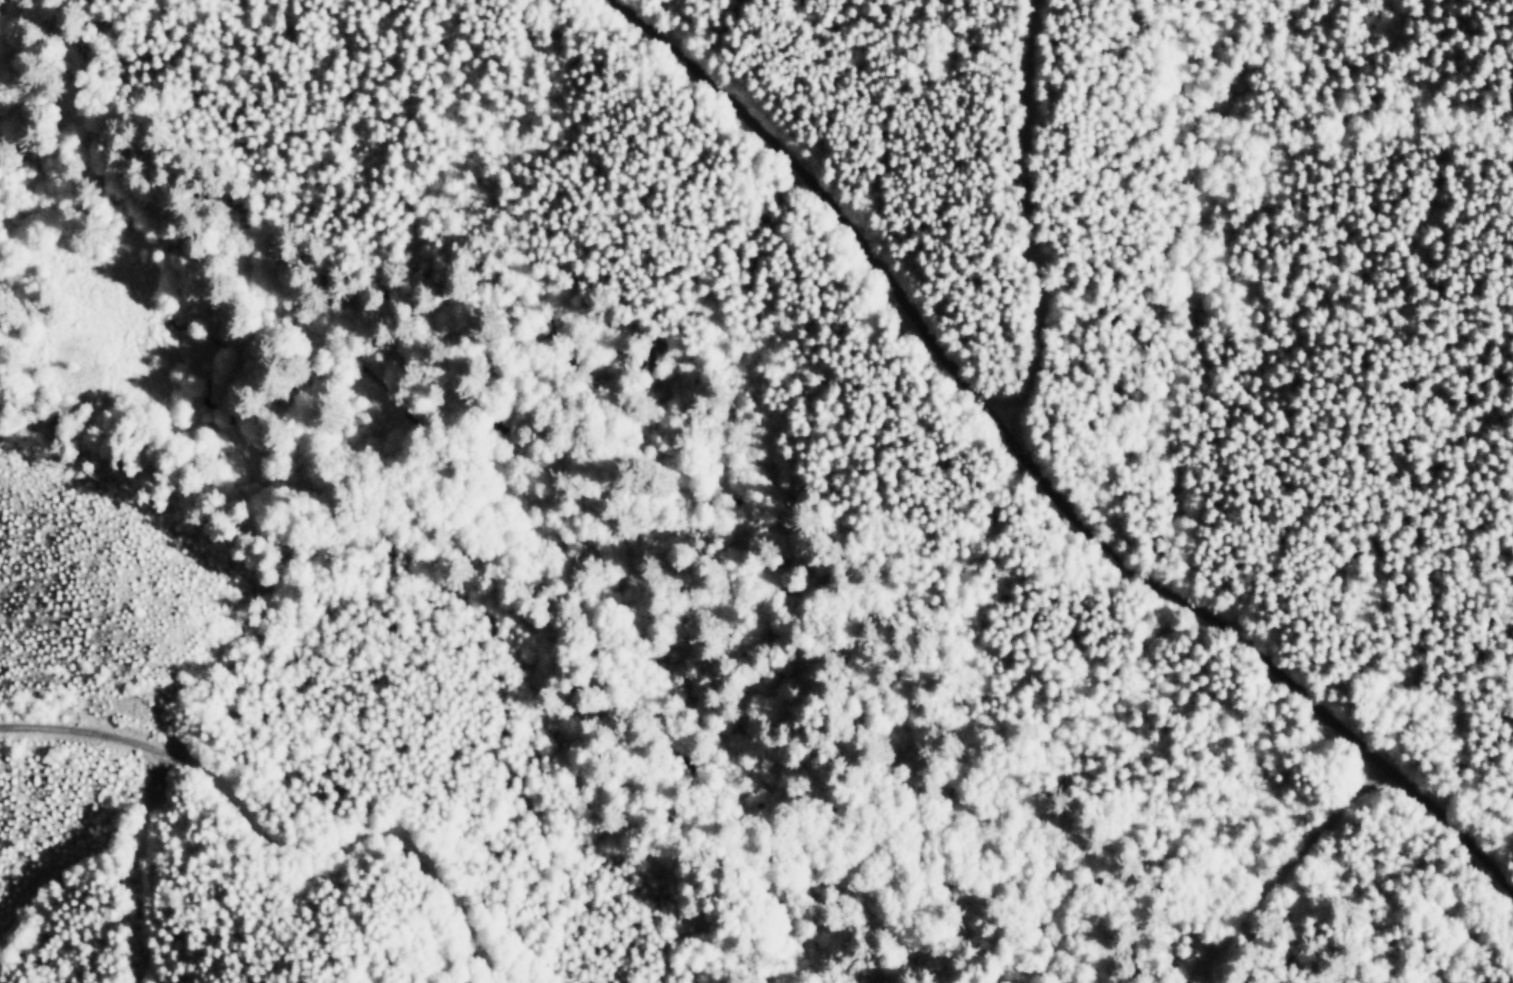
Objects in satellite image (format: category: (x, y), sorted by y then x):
road: (1063, 460)

